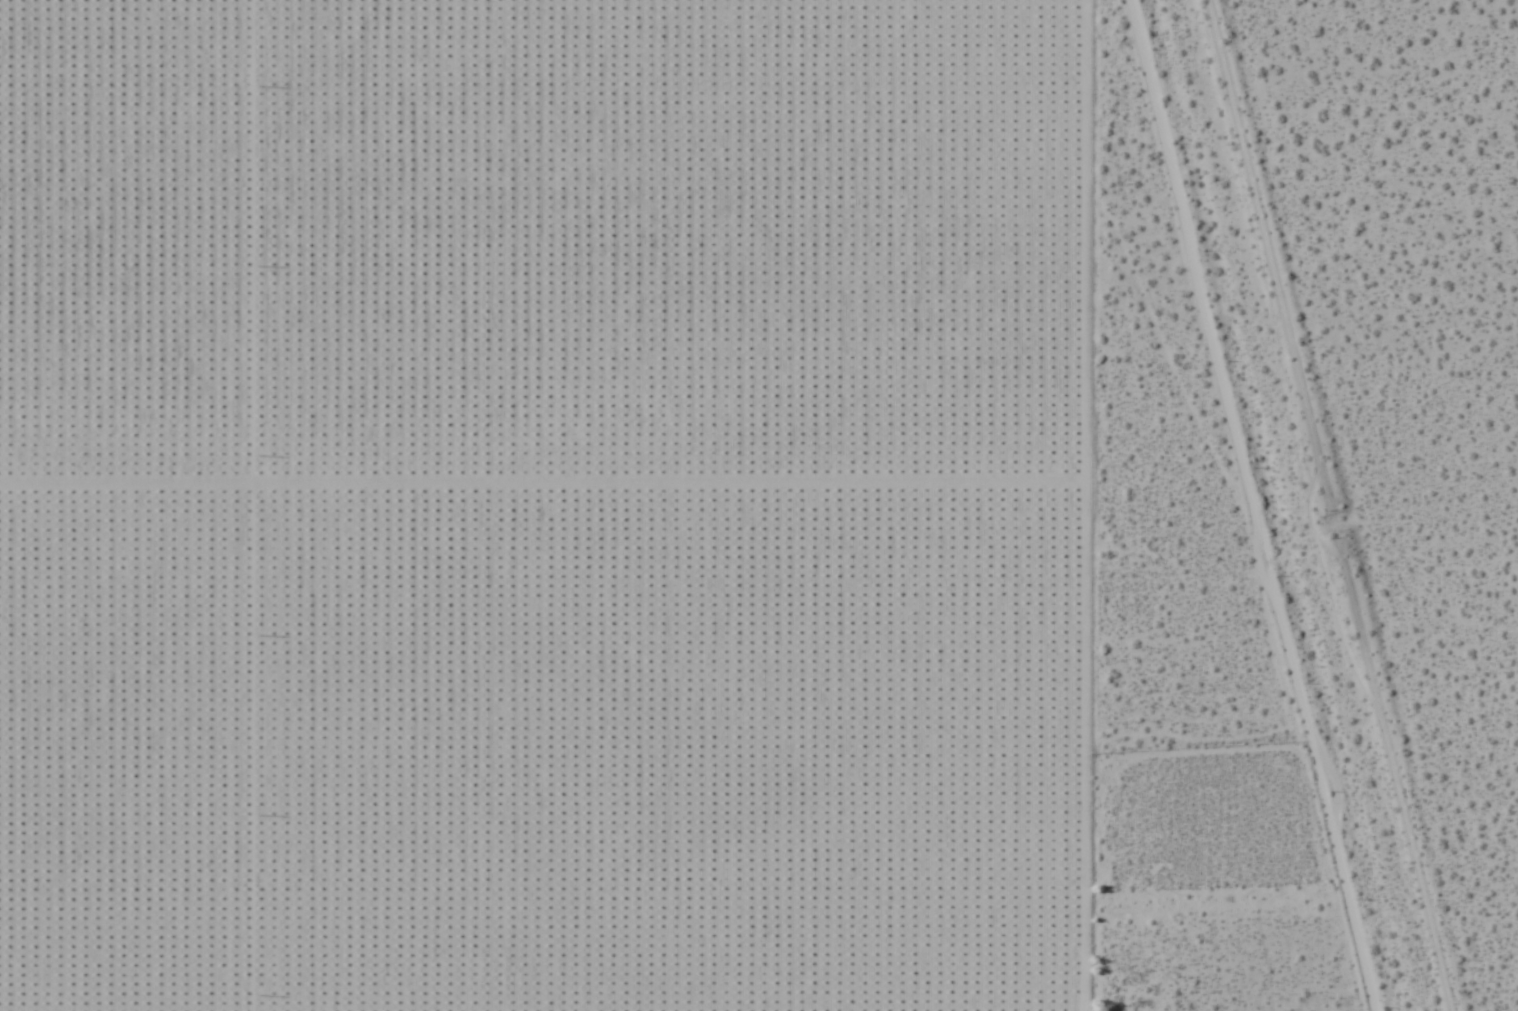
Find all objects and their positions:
road: (1252, 505)

